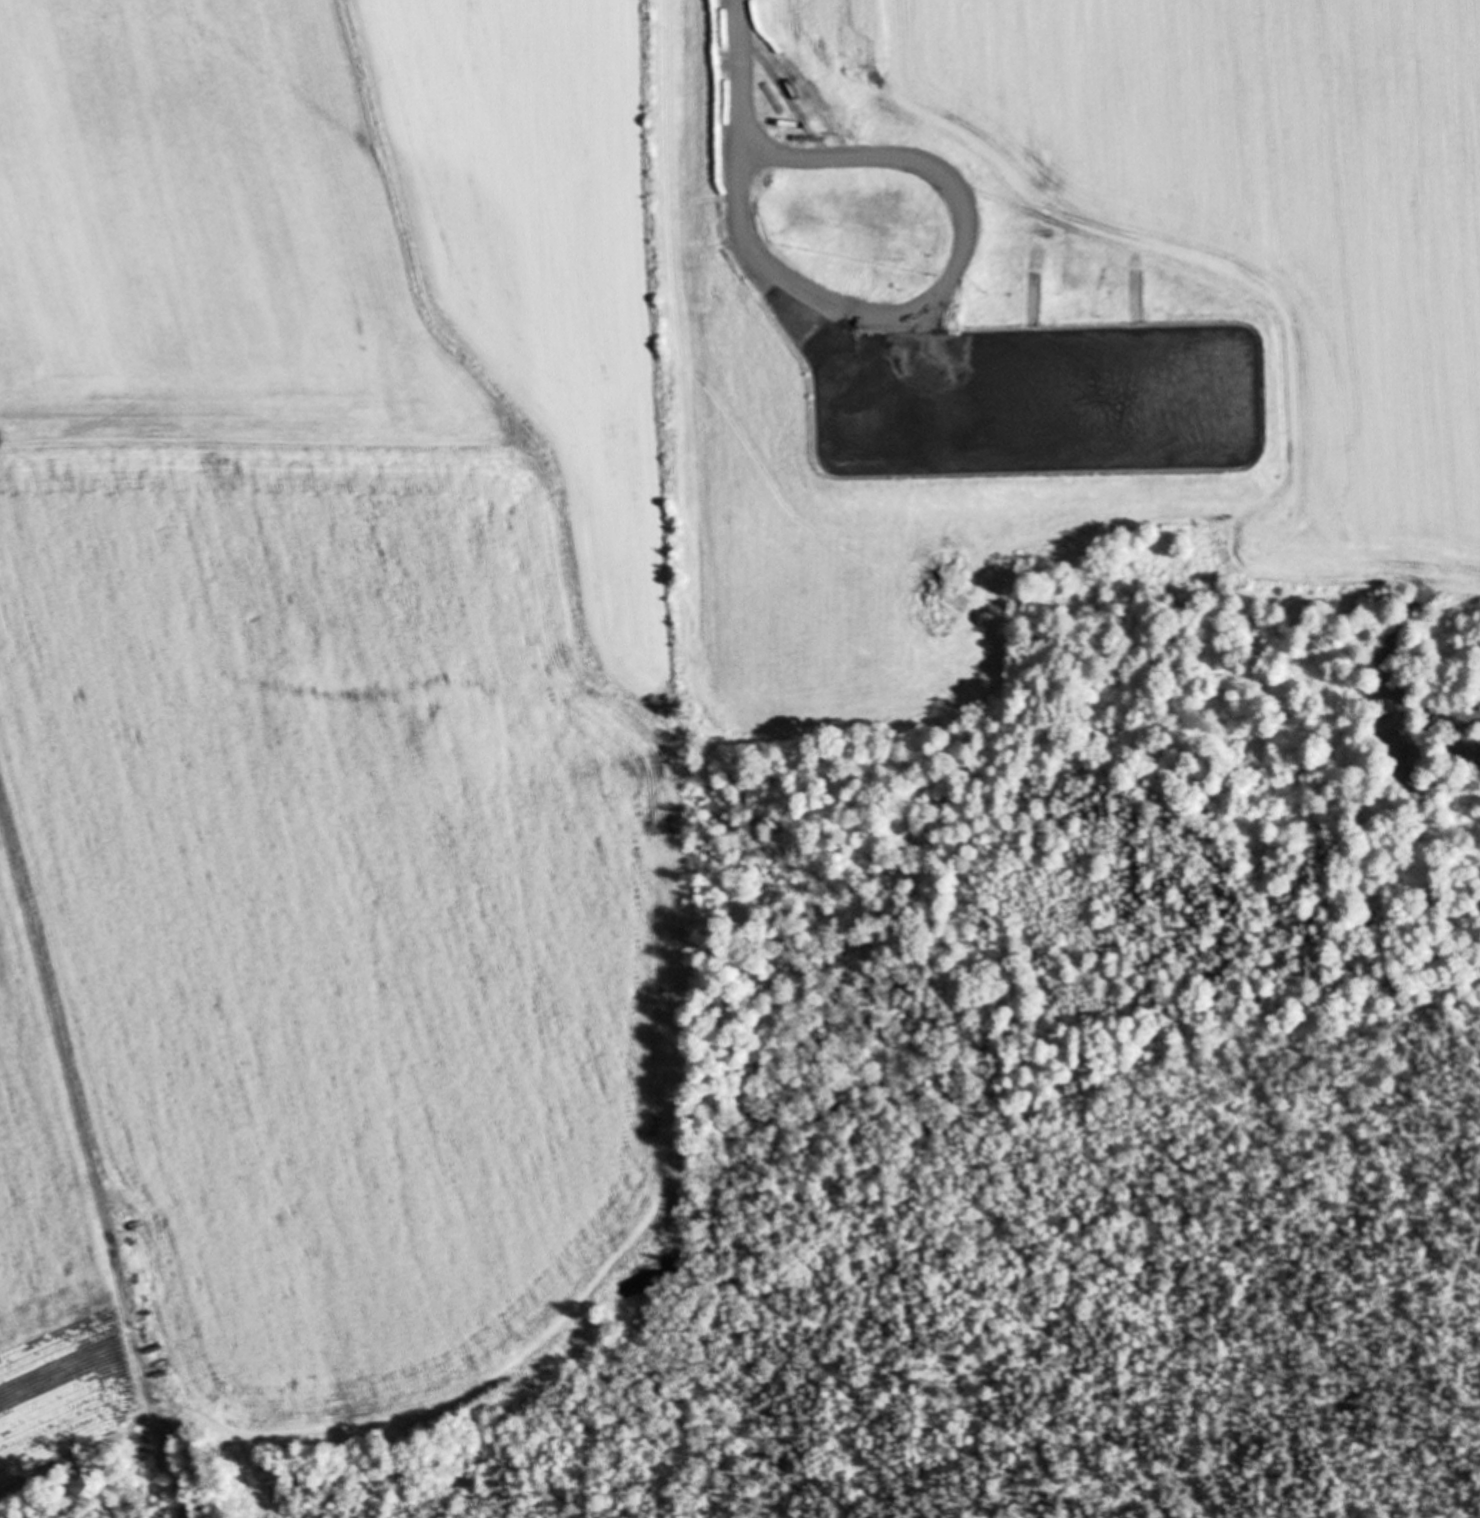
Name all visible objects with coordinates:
road: (728, 63)
road: (945, 289)
road: (111, 1121)

